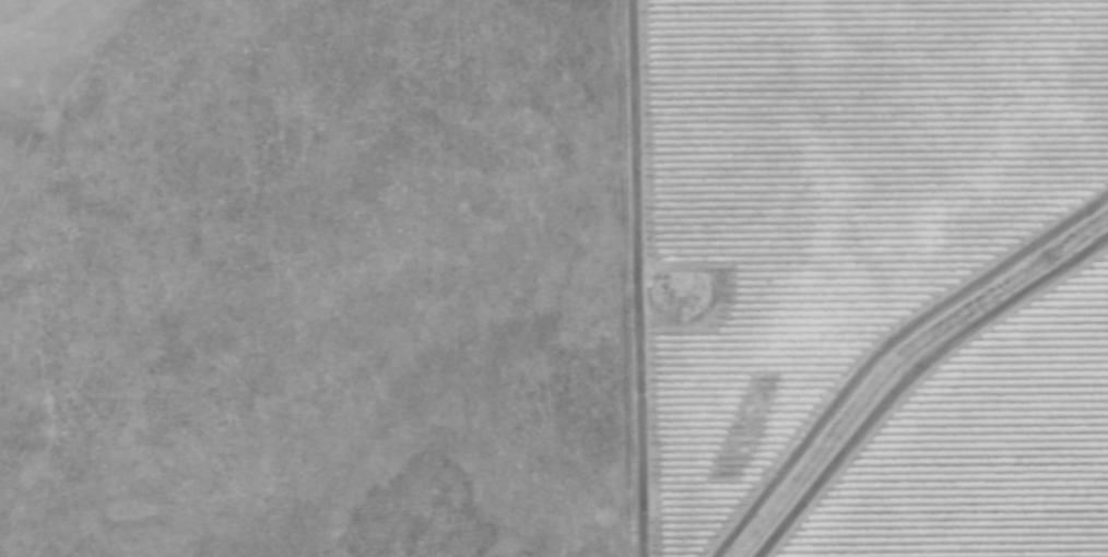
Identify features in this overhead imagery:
crop: (971, 436)

